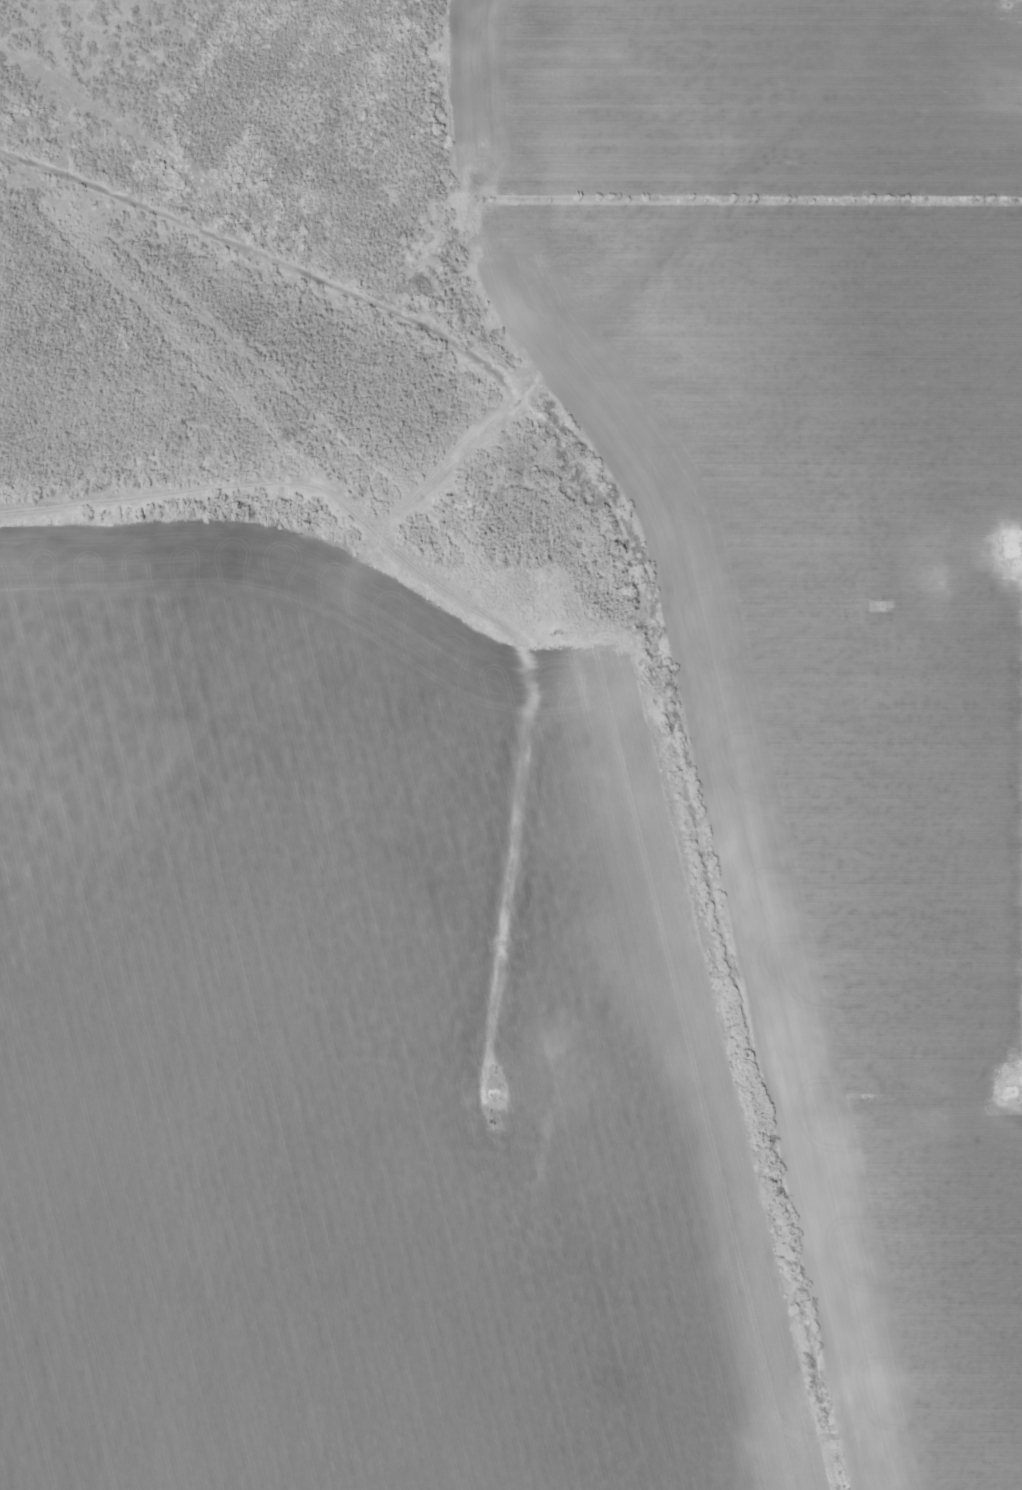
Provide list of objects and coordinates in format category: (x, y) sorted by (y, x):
road: (445, 573)
road: (1016, 712)

